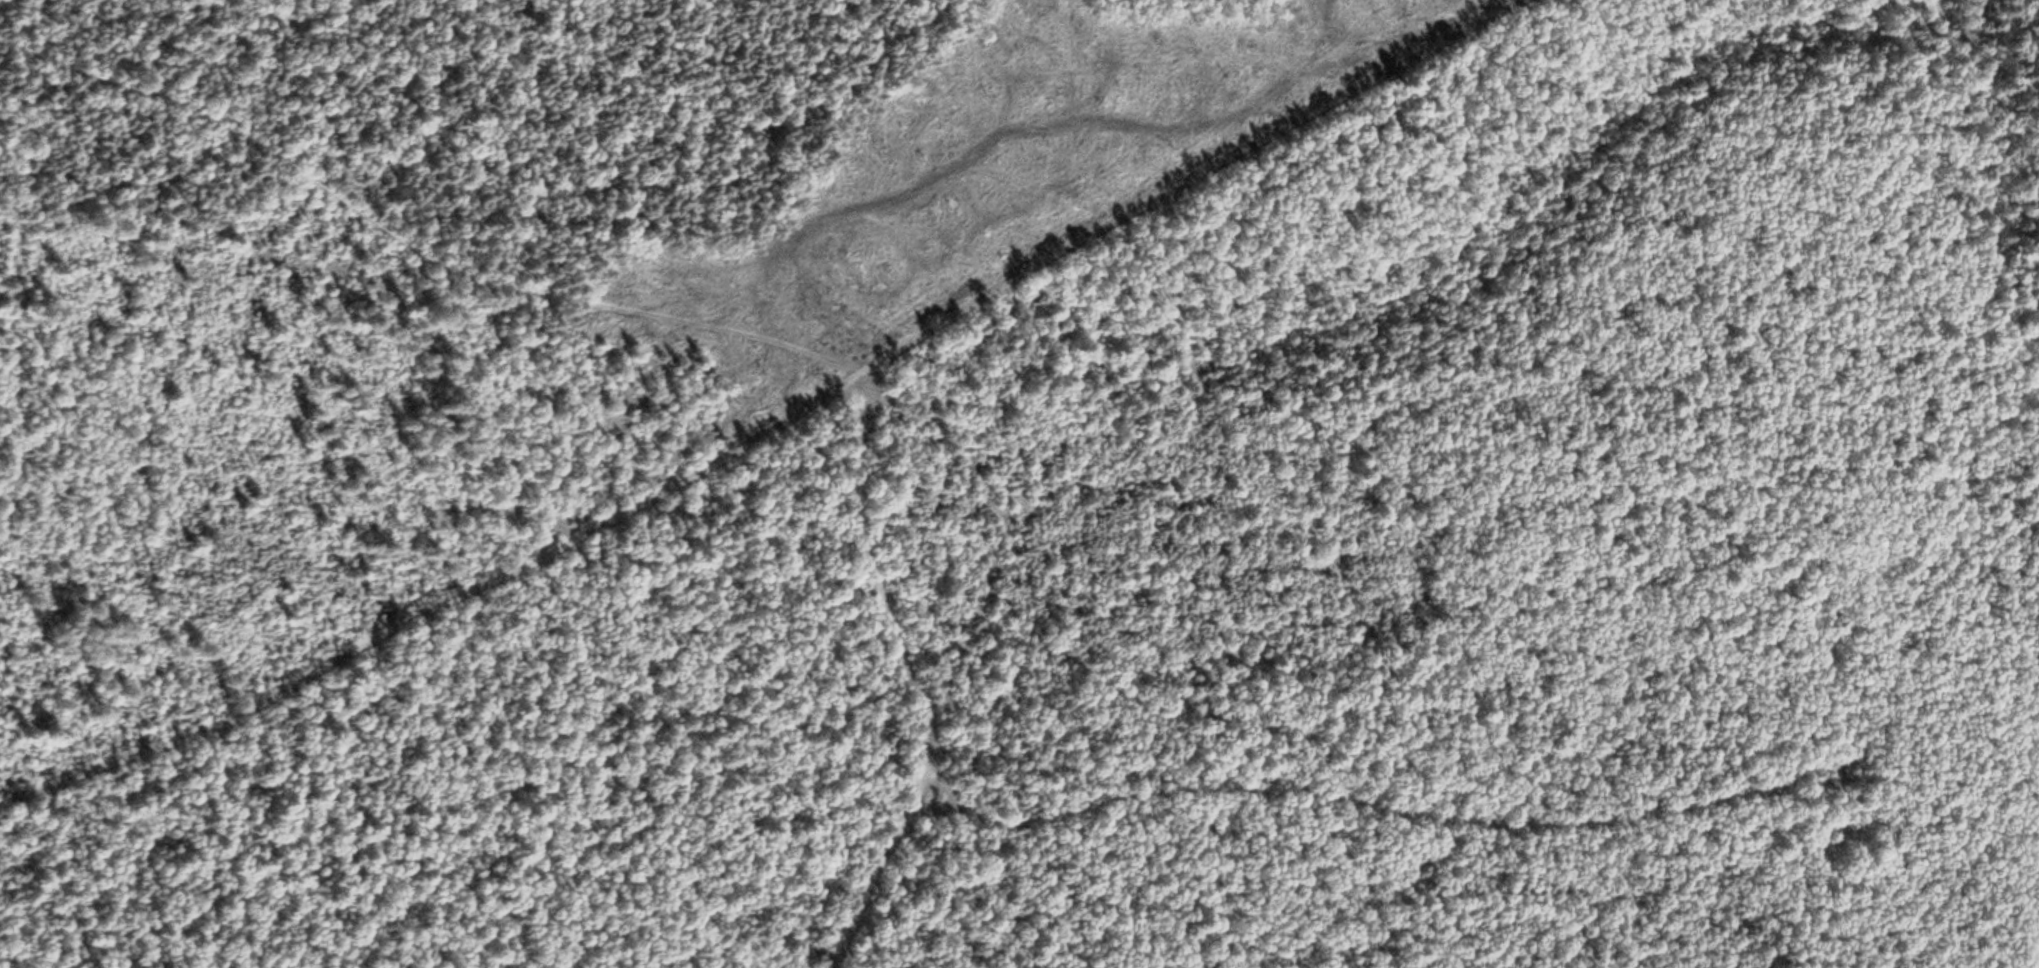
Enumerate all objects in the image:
road: (412, 246)
road: (774, 413)
road: (910, 673)

